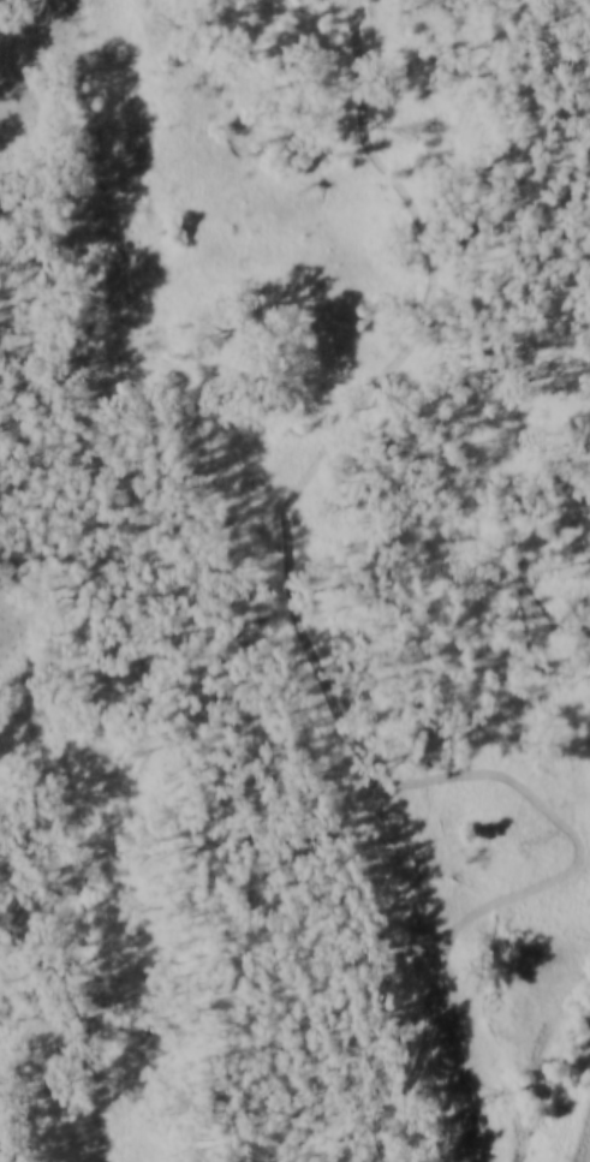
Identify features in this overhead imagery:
park: (294, 579)
road: (322, 673)

